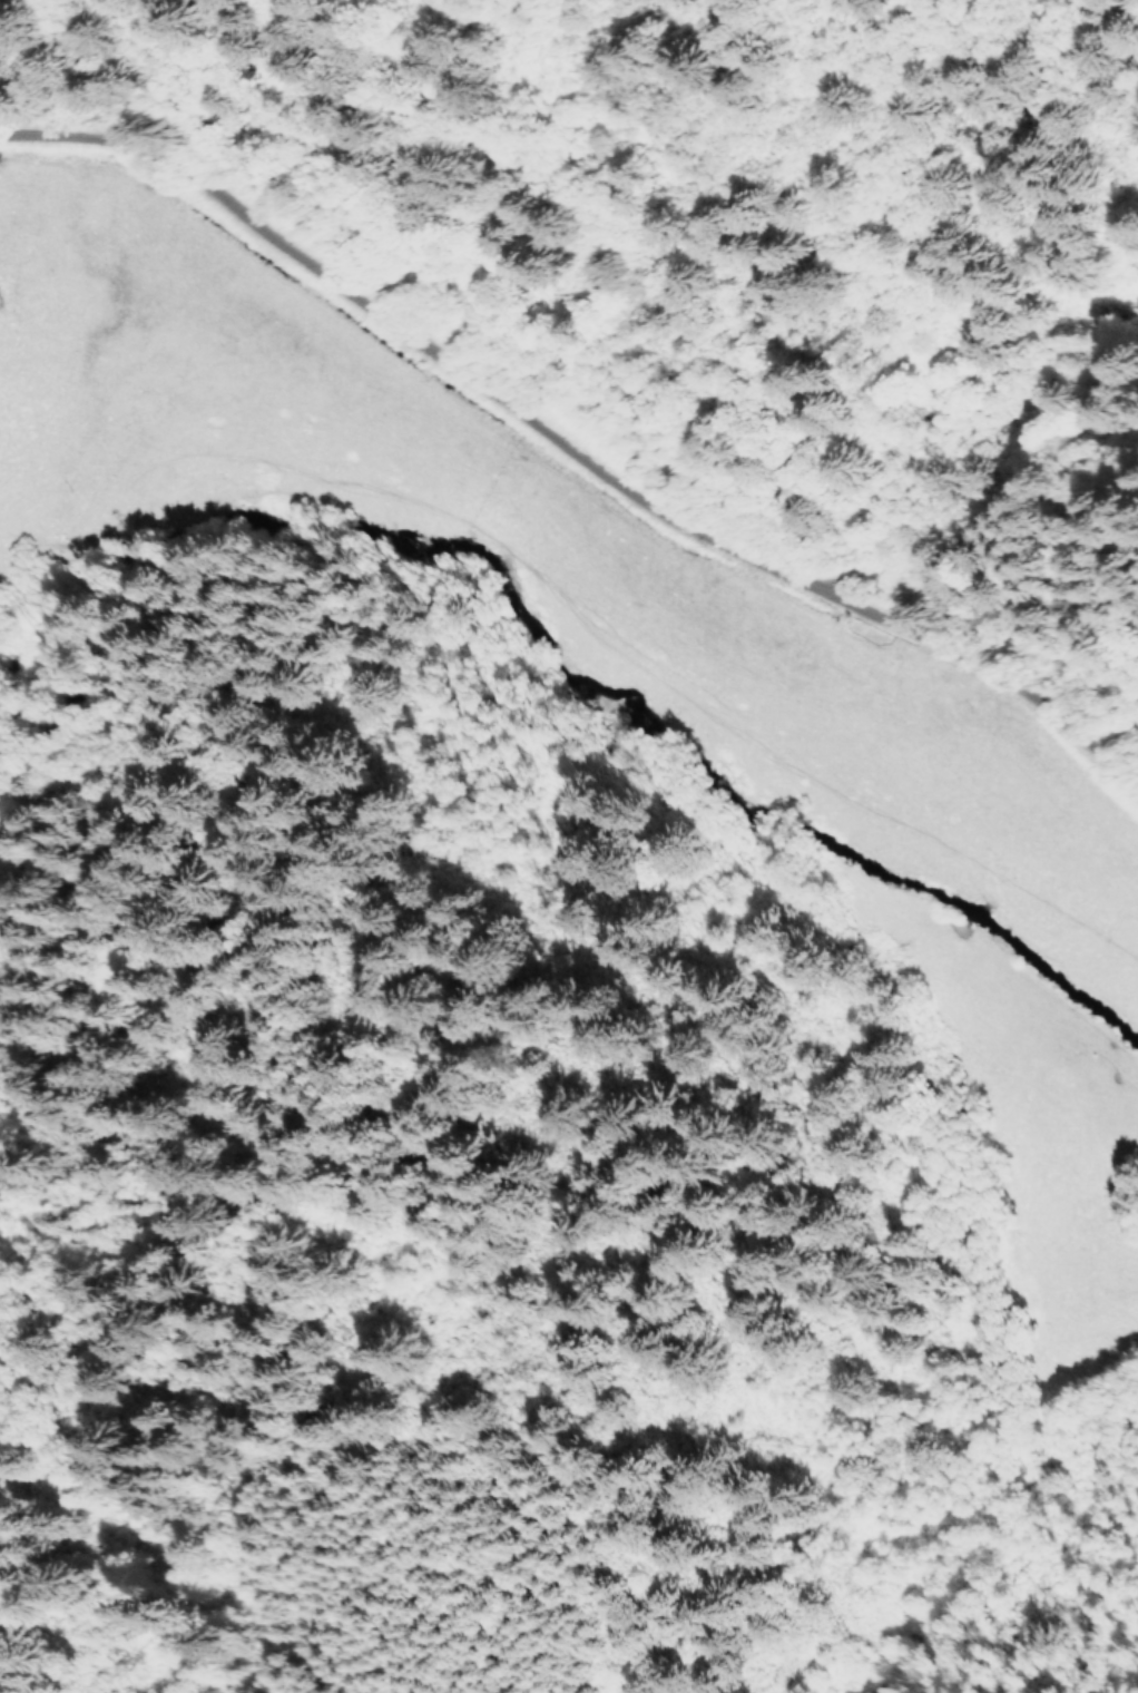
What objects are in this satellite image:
road: (568, 450)

